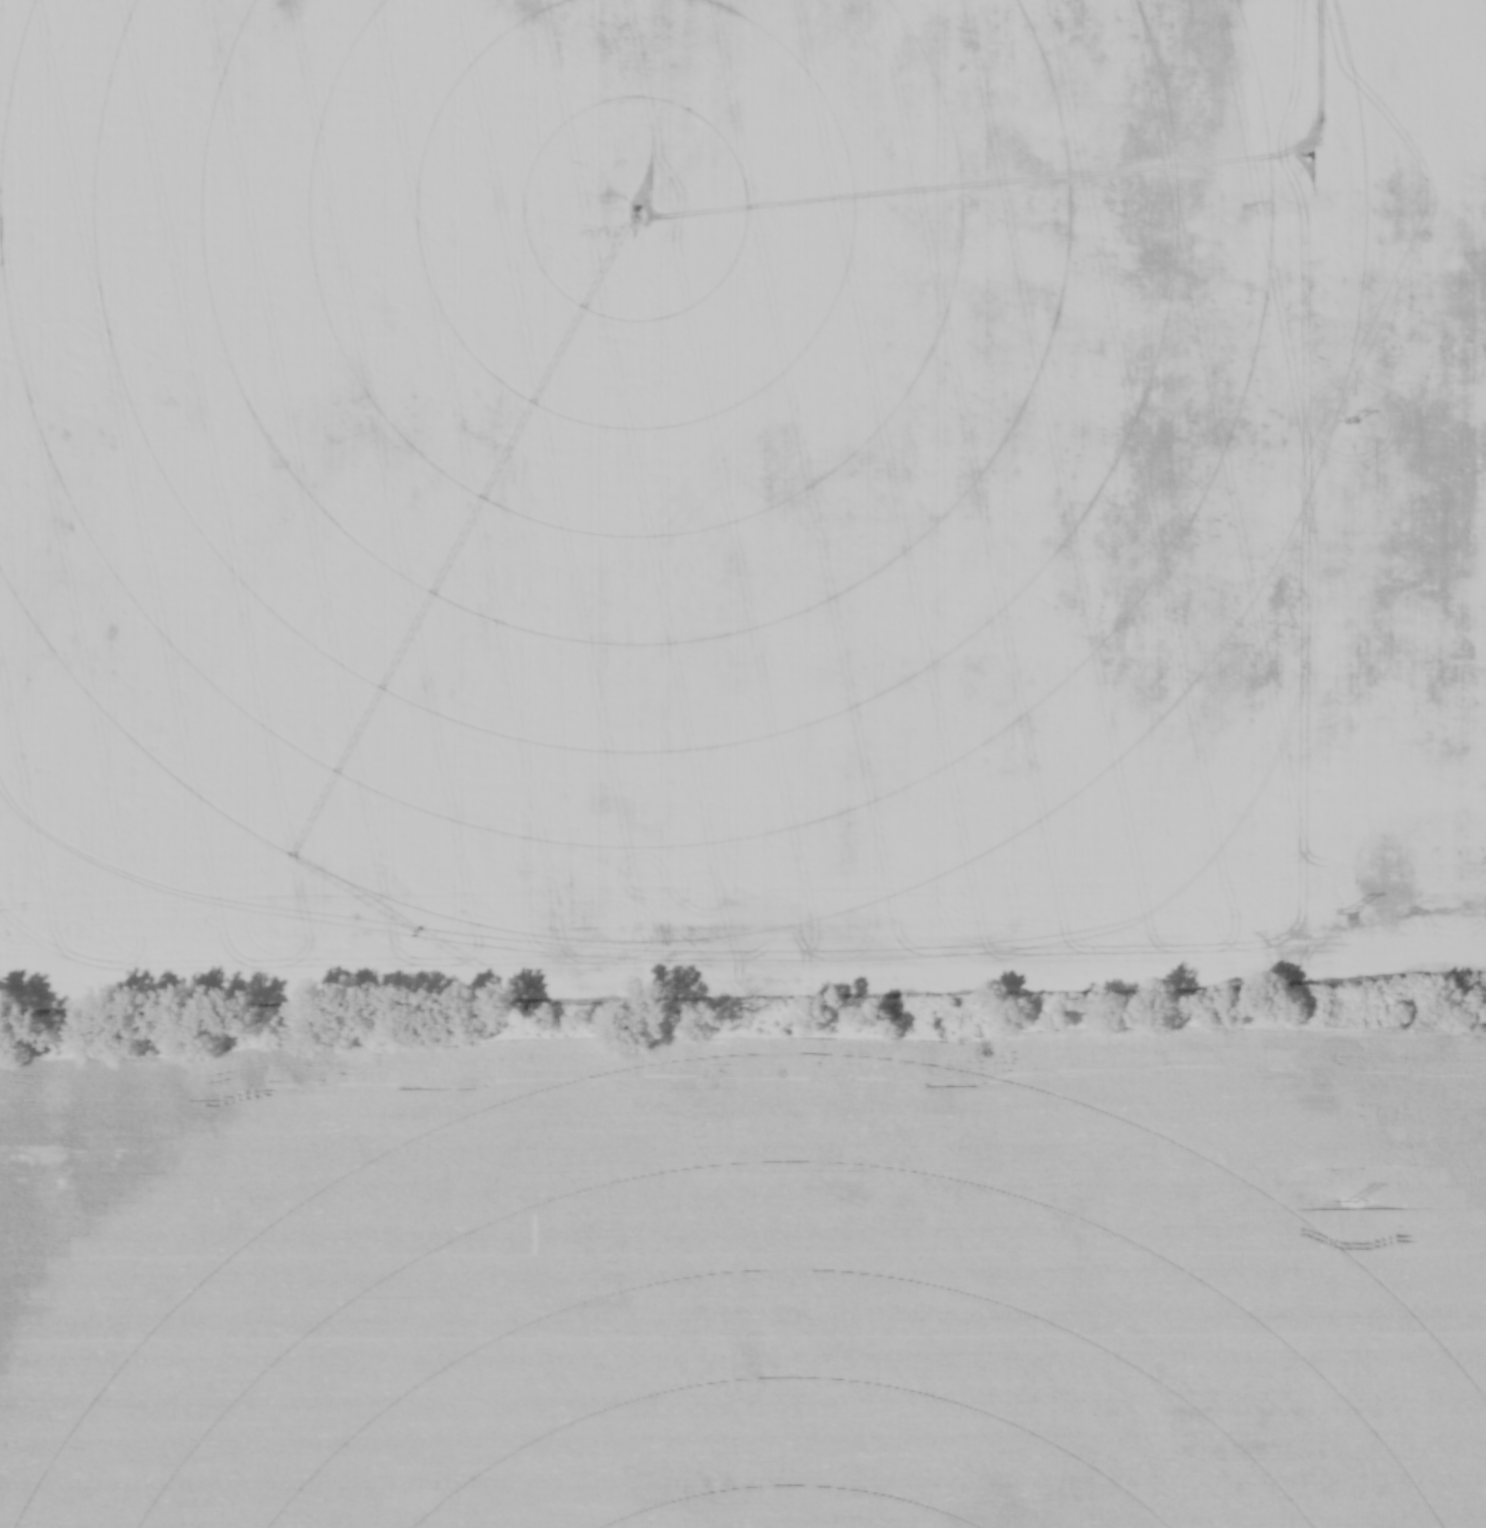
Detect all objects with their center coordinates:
power tower: (1350, 422)
power tower: (1350, 911)
power tower: (1350, 1203)

